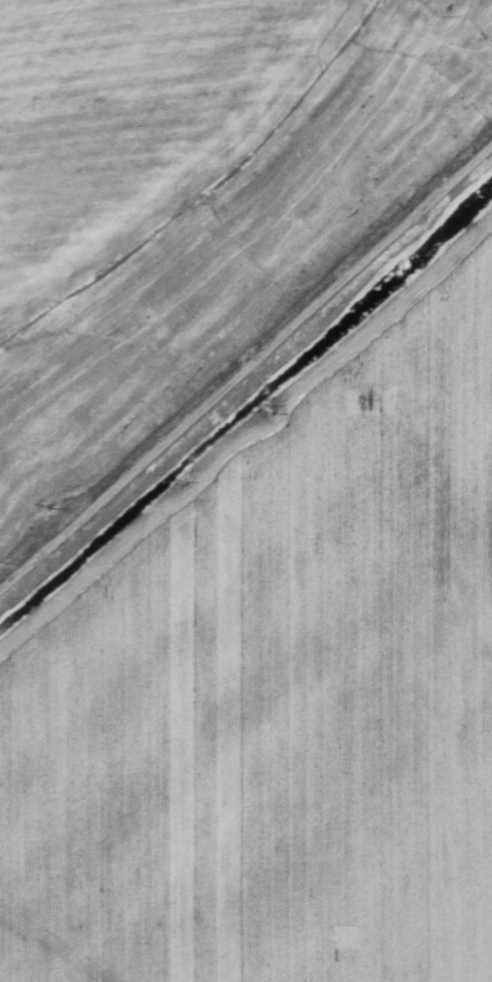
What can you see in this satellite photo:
road: (246, 365)

